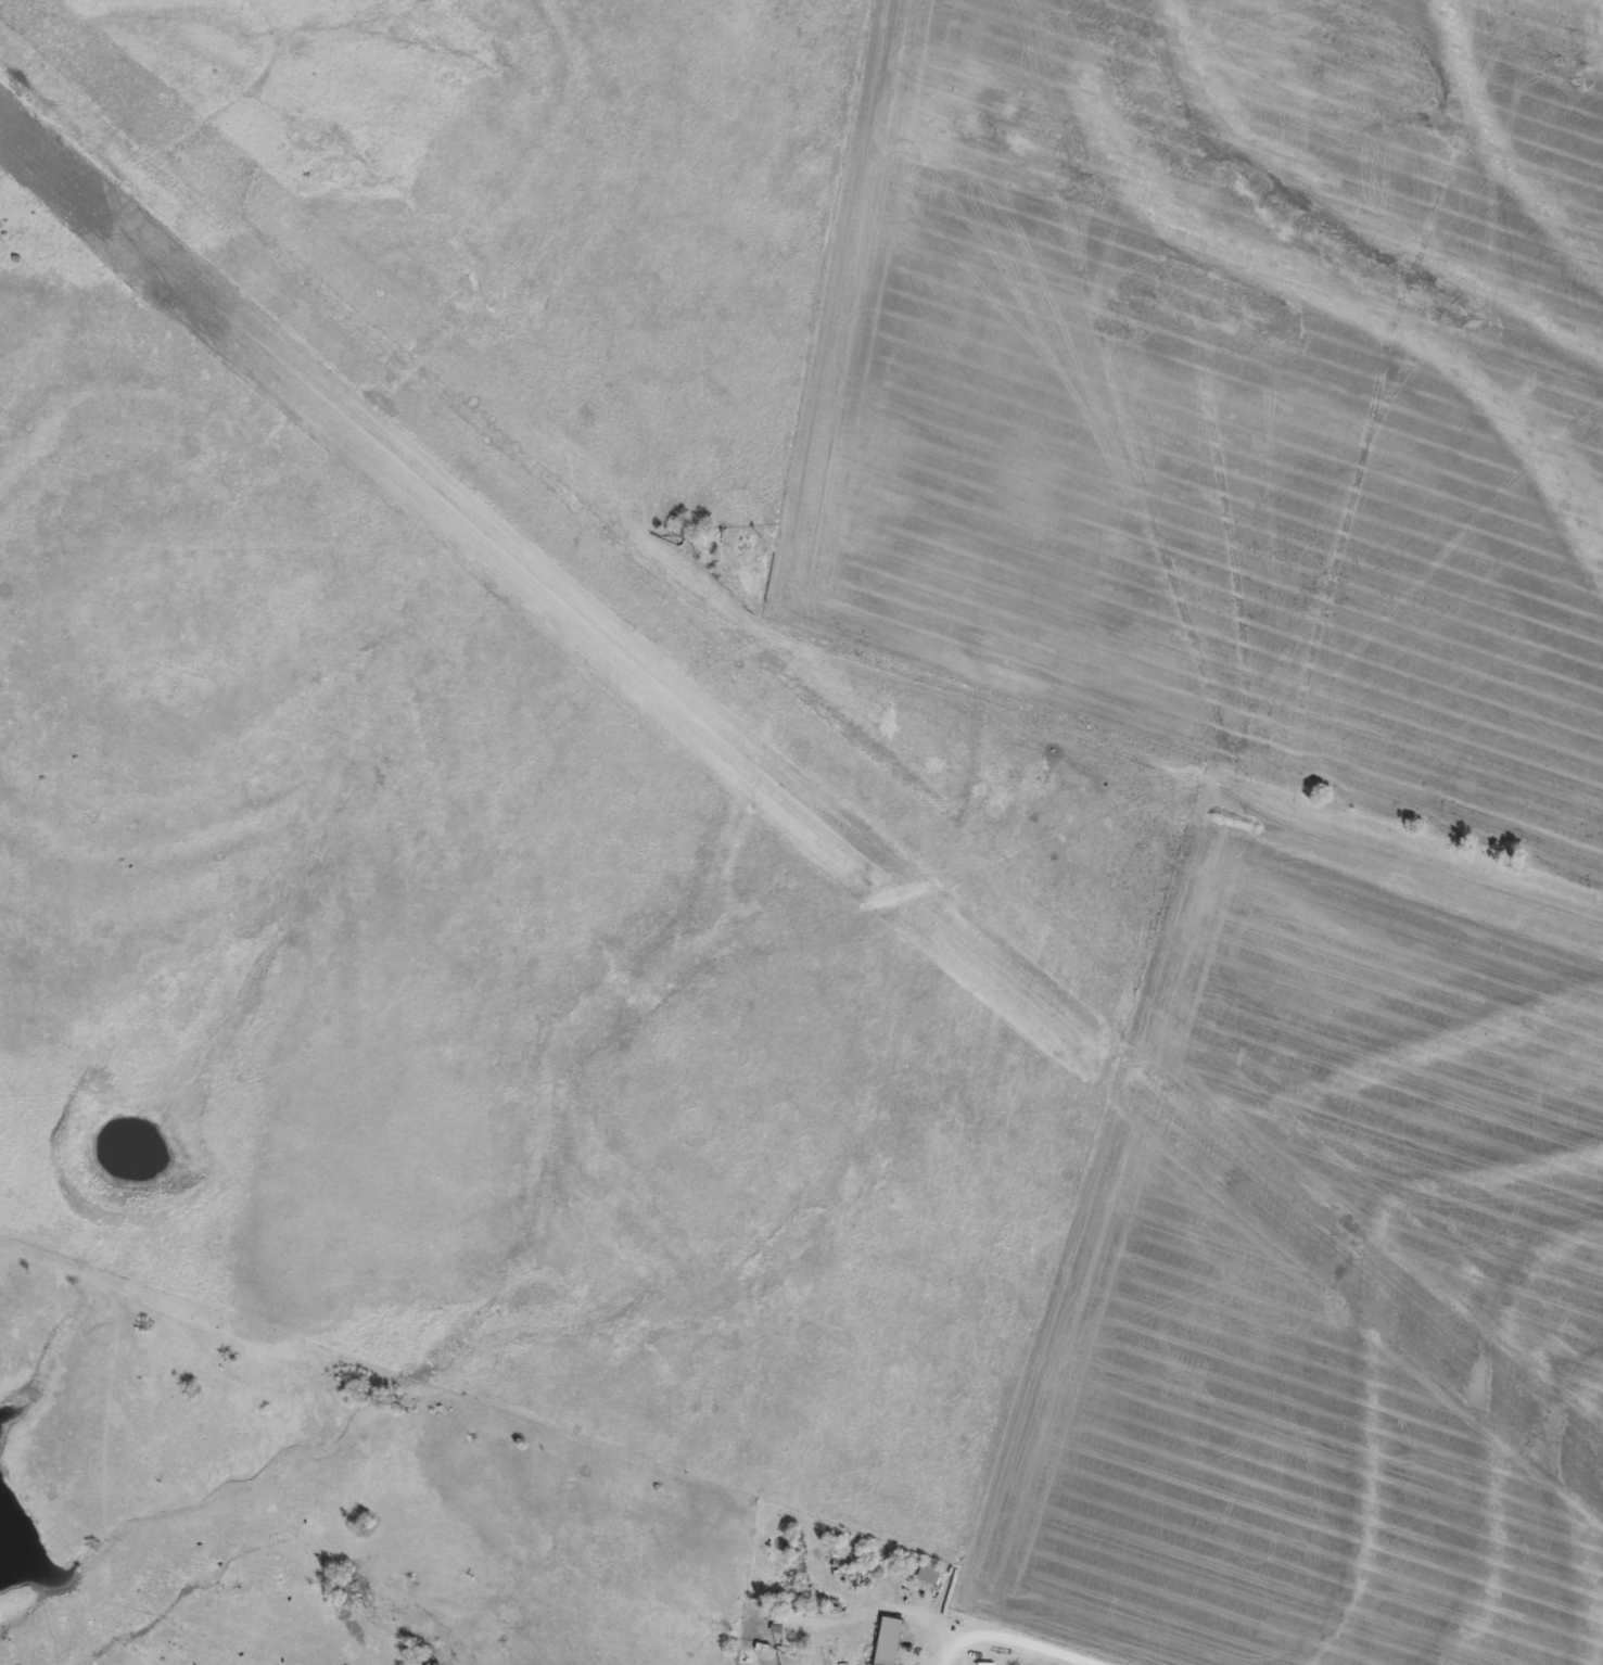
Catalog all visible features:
road: (318, 557)
building: (927, 1573)
building: (873, 1664)
road: (919, 1664)

